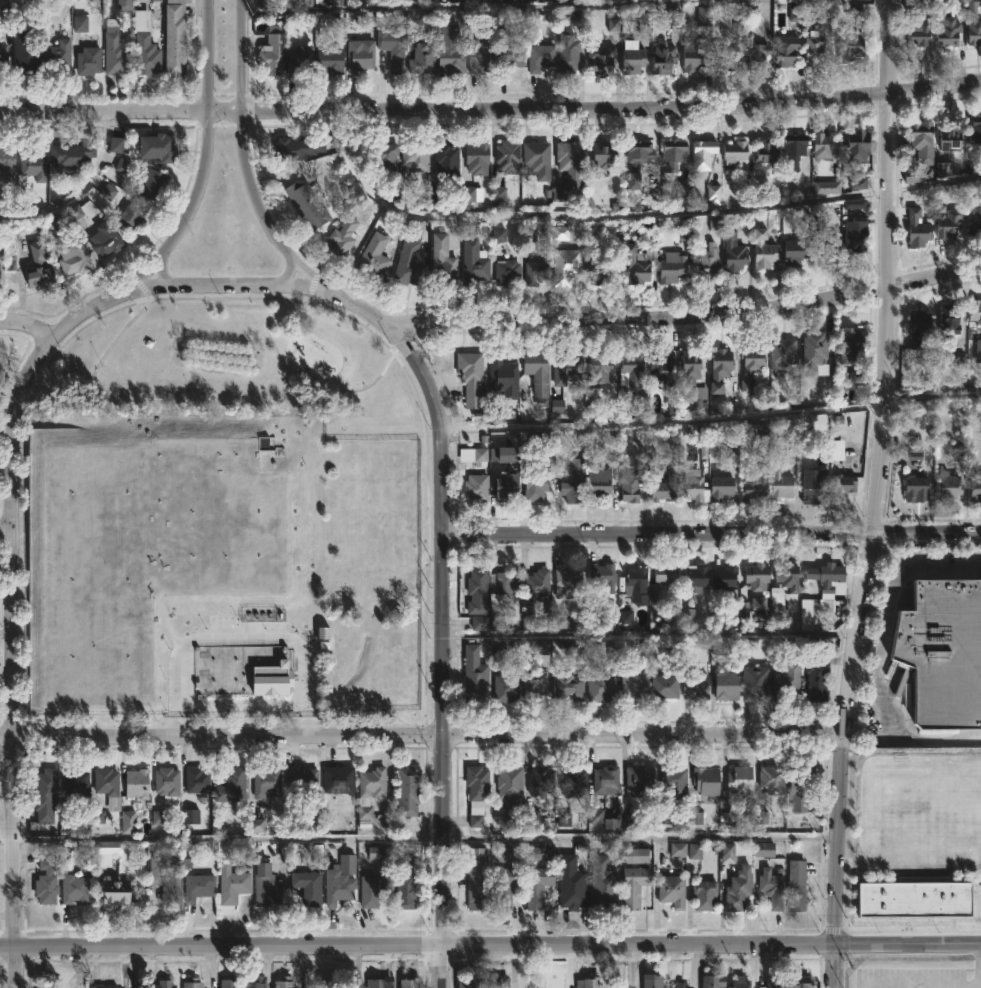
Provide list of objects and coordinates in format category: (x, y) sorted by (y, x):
road: (19, 1)
road: (495, 11)
building: (973, 23)
building: (916, 30)
building: (947, 32)
building: (174, 38)
road: (883, 45)
building: (850, 46)
building: (22, 47)
building: (4, 50)
building: (115, 50)
building: (392, 50)
building: (451, 50)
building: (785, 51)
building: (272, 53)
building: (57, 54)
road: (238, 54)
building: (568, 54)
building: (813, 54)
building: (694, 55)
building: (756, 55)
building: (146, 56)
road: (210, 56)
building: (360, 56)
building: (510, 56)
building: (480, 58)
building: (540, 58)
building: (632, 58)
building: (663, 59)
building: (725, 59)
building: (330, 61)
building: (421, 61)
building: (602, 61)
building: (88, 62)
building: (300, 62)
road: (491, 115)
building: (976, 128)
building: (950, 137)
building: (858, 145)
building: (157, 146)
building: (297, 146)
building: (823, 146)
building: (794, 148)
building: (734, 151)
building: (673, 152)
building: (921, 152)
building: (384, 153)
building: (604, 153)
building: (702, 153)
building: (769, 154)
building: (72, 155)
building: (508, 155)
building: (537, 155)
building: (416, 156)
building: (447, 157)
building: (477, 157)
building: (637, 158)
building: (7, 160)
building: (570, 160)
building: (33, 164)
road: (961, 181)
building: (859, 182)
building: (152, 183)
building: (827, 186)
road: (78, 190)
building: (306, 204)
building: (855, 205)
road: (188, 211)
road: (266, 212)
building: (133, 214)
building: (973, 217)
road: (536, 218)
building: (948, 222)
building: (918, 228)
building: (566, 231)
building: (857, 233)
building: (343, 235)
building: (105, 238)
building: (824, 240)
building: (763, 248)
building: (794, 250)
building: (733, 252)
building: (372, 256)
building: (73, 259)
building: (442, 259)
building: (408, 260)
building: (475, 260)
building: (638, 261)
building: (707, 261)
building: (599, 266)
building: (672, 266)
building: (37, 268)
building: (567, 268)
building: (537, 272)
building: (508, 273)
road: (161, 274)
road: (288, 274)
road: (229, 286)
road: (354, 309)
road: (88, 310)
building: (975, 311)
road: (682, 321)
building: (950, 321)
road: (28, 324)
building: (919, 328)
building: (852, 341)
building: (978, 348)
building: (784, 351)
building: (815, 353)
building: (660, 360)
building: (690, 365)
building: (752, 365)
building: (567, 367)
building: (600, 367)
building: (632, 367)
building: (720, 368)
building: (537, 374)
building: (503, 375)
building: (471, 376)
building: (701, 399)
road: (216, 401)
road: (712, 420)
road: (6, 425)
building: (474, 455)
building: (780, 478)
building: (755, 482)
building: (598, 483)
building: (534, 485)
building: (694, 485)
building: (843, 485)
building: (950, 485)
building: (813, 486)
building: (507, 487)
building: (631, 487)
building: (571, 488)
building: (665, 488)
building: (720, 488)
building: (916, 488)
building: (975, 488)
building: (477, 489)
park: (230, 522)
road: (6, 529)
road: (712, 532)
building: (333, 535)
building: (400, 536)
road: (870, 539)
road: (921, 570)
building: (665, 573)
building: (757, 575)
building: (600, 576)
building: (695, 576)
building: (788, 576)
building: (725, 577)
building: (825, 577)
building: (566, 580)
building: (502, 581)
building: (538, 582)
building: (637, 585)
building: (477, 592)
road: (442, 622)
road: (13, 634)
road: (715, 635)
road: (6, 636)
road: (248, 642)
building: (942, 650)
building: (474, 675)
building: (817, 675)
building: (786, 679)
building: (248, 682)
building: (533, 683)
building: (727, 684)
building: (756, 684)
building: (568, 685)
building: (633, 685)
building: (695, 685)
building: (506, 686)
building: (599, 687)
building: (664, 687)
road: (881, 717)
road: (423, 737)
building: (301, 779)
building: (338, 779)
building: (606, 779)
building: (772, 779)
building: (197, 780)
building: (539, 780)
building: (640, 780)
building: (75, 781)
building: (267, 782)
building: (575, 782)
building: (674, 782)
building: (740, 782)
building: (136, 783)
building: (167, 783)
building: (707, 783)
building: (107, 786)
building: (231, 787)
building: (801, 790)
building: (408, 791)
building: (509, 792)
building: (477, 793)
building: (44, 794)
building: (364, 801)
building: (69, 813)
building: (128, 824)
road: (421, 832)
building: (765, 851)
building: (105, 852)
building: (378, 854)
building: (508, 854)
building: (540, 854)
building: (729, 854)
building: (638, 856)
building: (348, 859)
building: (477, 879)
building: (163, 882)
building: (570, 882)
building: (407, 883)
building: (602, 883)
building: (45, 884)
building: (264, 884)
building: (797, 885)
building: (506, 886)
building: (538, 886)
building: (634, 886)
building: (198, 887)
building: (308, 887)
building: (773, 887)
building: (75, 888)
building: (337, 888)
building: (232, 889)
building: (374, 889)
building: (739, 889)
building: (115, 890)
building: (672, 891)
building: (905, 891)
building: (705, 895)
road: (225, 944)
road: (711, 944)
road: (5, 946)
road: (442, 966)
road: (10, 967)
building: (714, 981)
building: (253, 982)
building: (284, 982)
building: (380, 982)
building: (468, 982)
building: (499, 982)
building: (588, 982)
building: (650, 982)
building: (740, 982)
building: (802, 982)
building: (192, 983)
building: (410, 983)
building: (164, 984)
building: (229, 984)
building: (774, 984)
building: (102, 986)
building: (681, 986)

